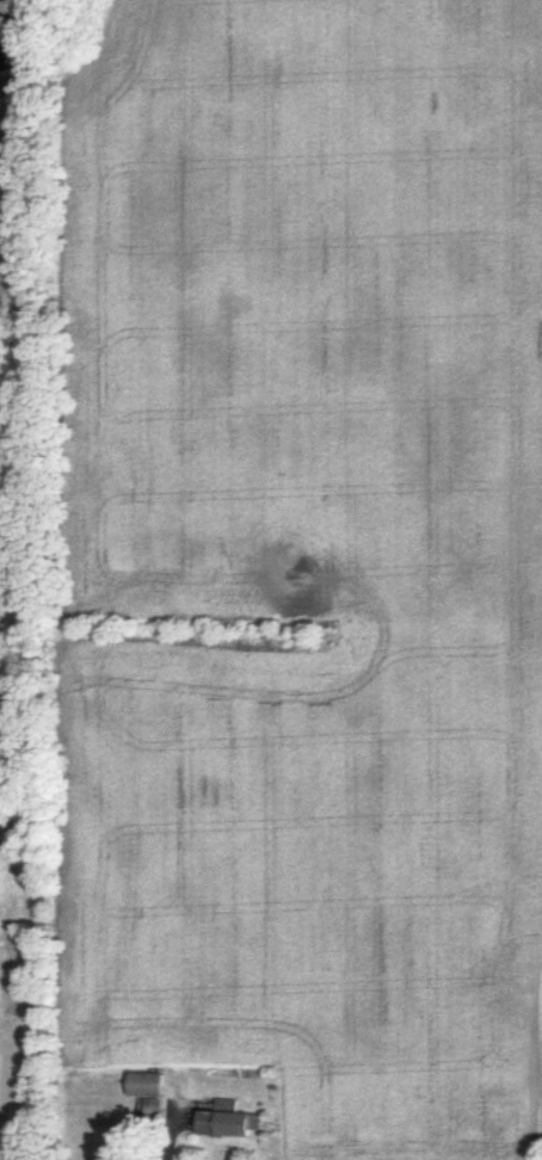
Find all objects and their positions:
building: (144, 1086)
building: (227, 1122)
road: (177, 1129)

